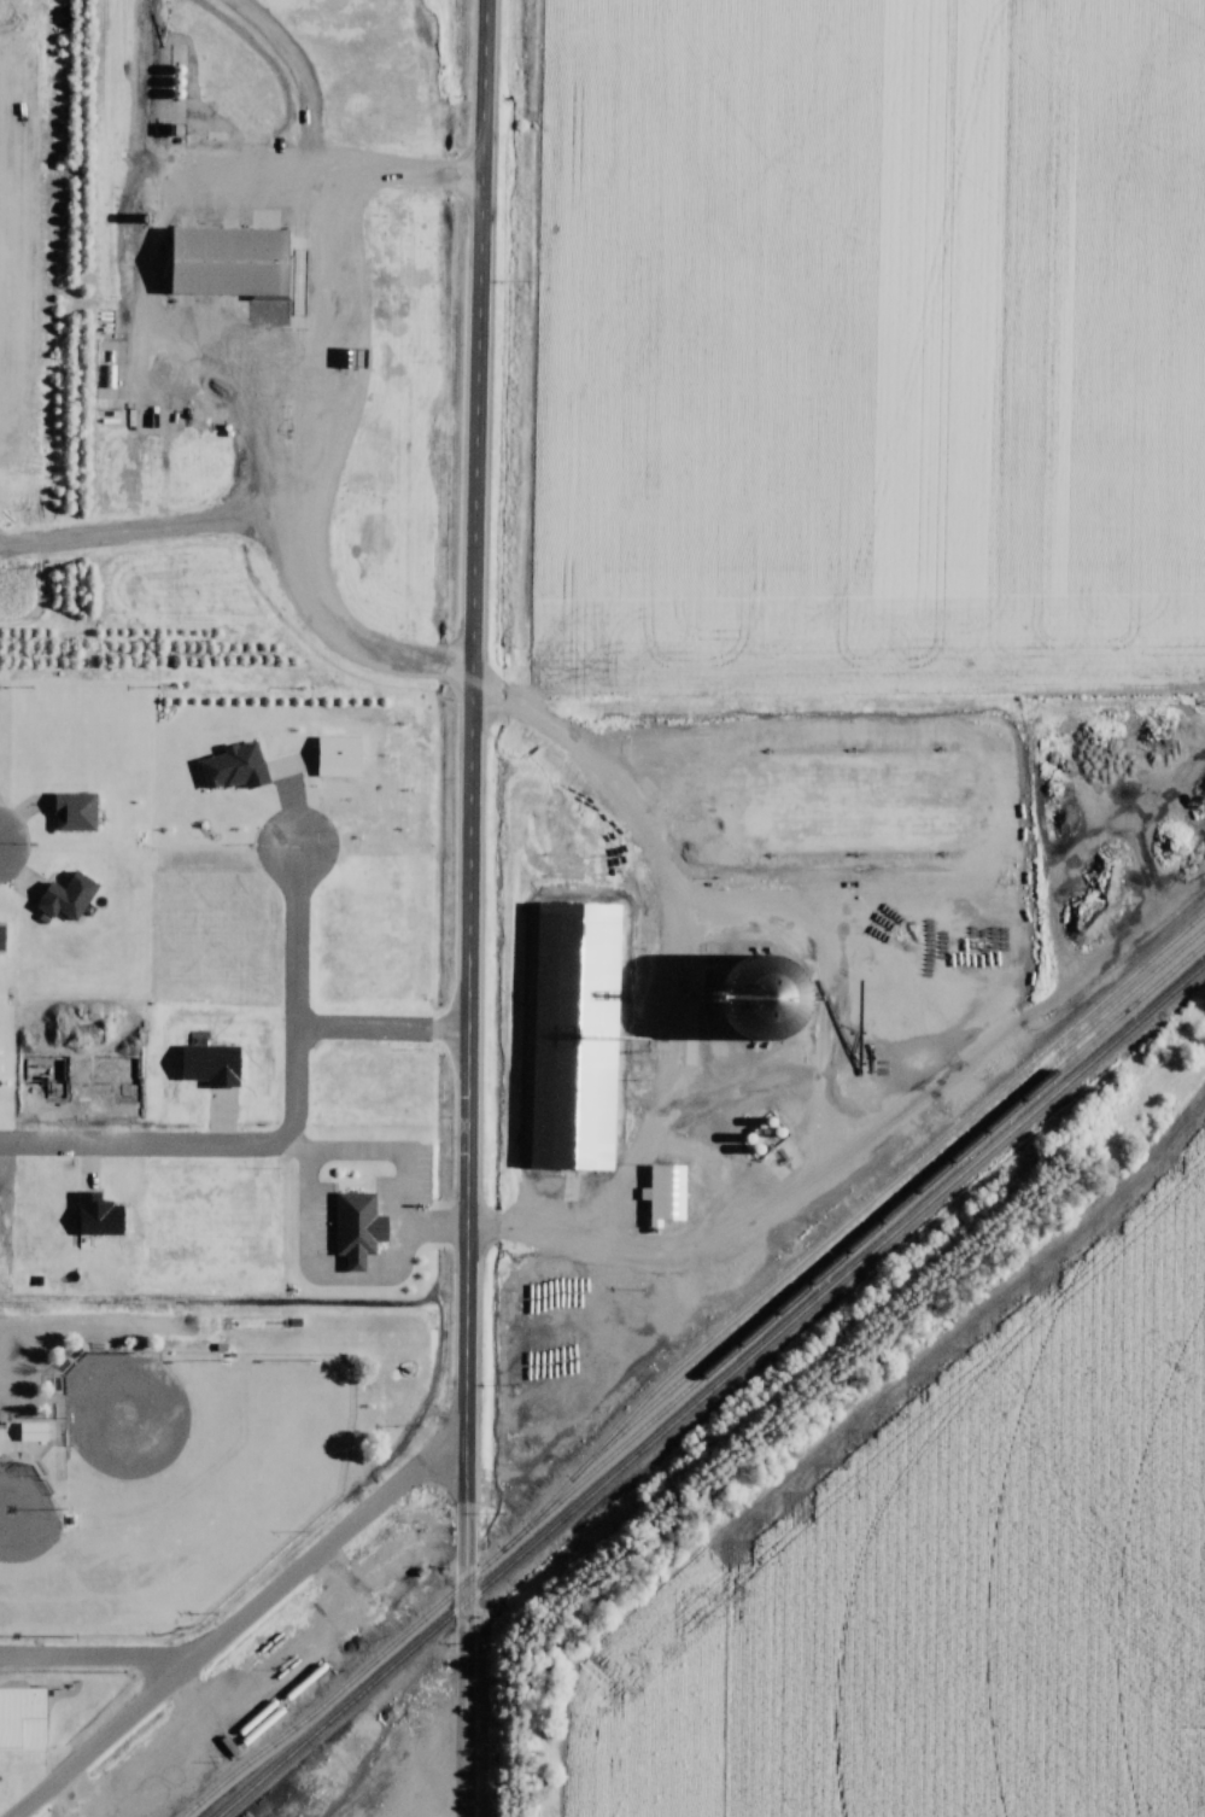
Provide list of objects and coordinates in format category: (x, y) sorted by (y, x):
building: (177, 72)
building: (230, 262)
crop: (870, 344)
road: (478, 724)
road: (299, 941)
road: (668, 968)
building: (766, 998)
building: (575, 1034)
road: (279, 1141)
railway: (900, 1188)
building: (665, 1196)
railway: (861, 1204)
railway: (695, 1381)
railway: (710, 1387)
building: (45, 1435)
park: (188, 1453)
park: (192, 1477)
park: (49, 1568)
crop: (957, 1574)
road: (238, 1626)
road: (468, 1632)
road: (95, 1657)

